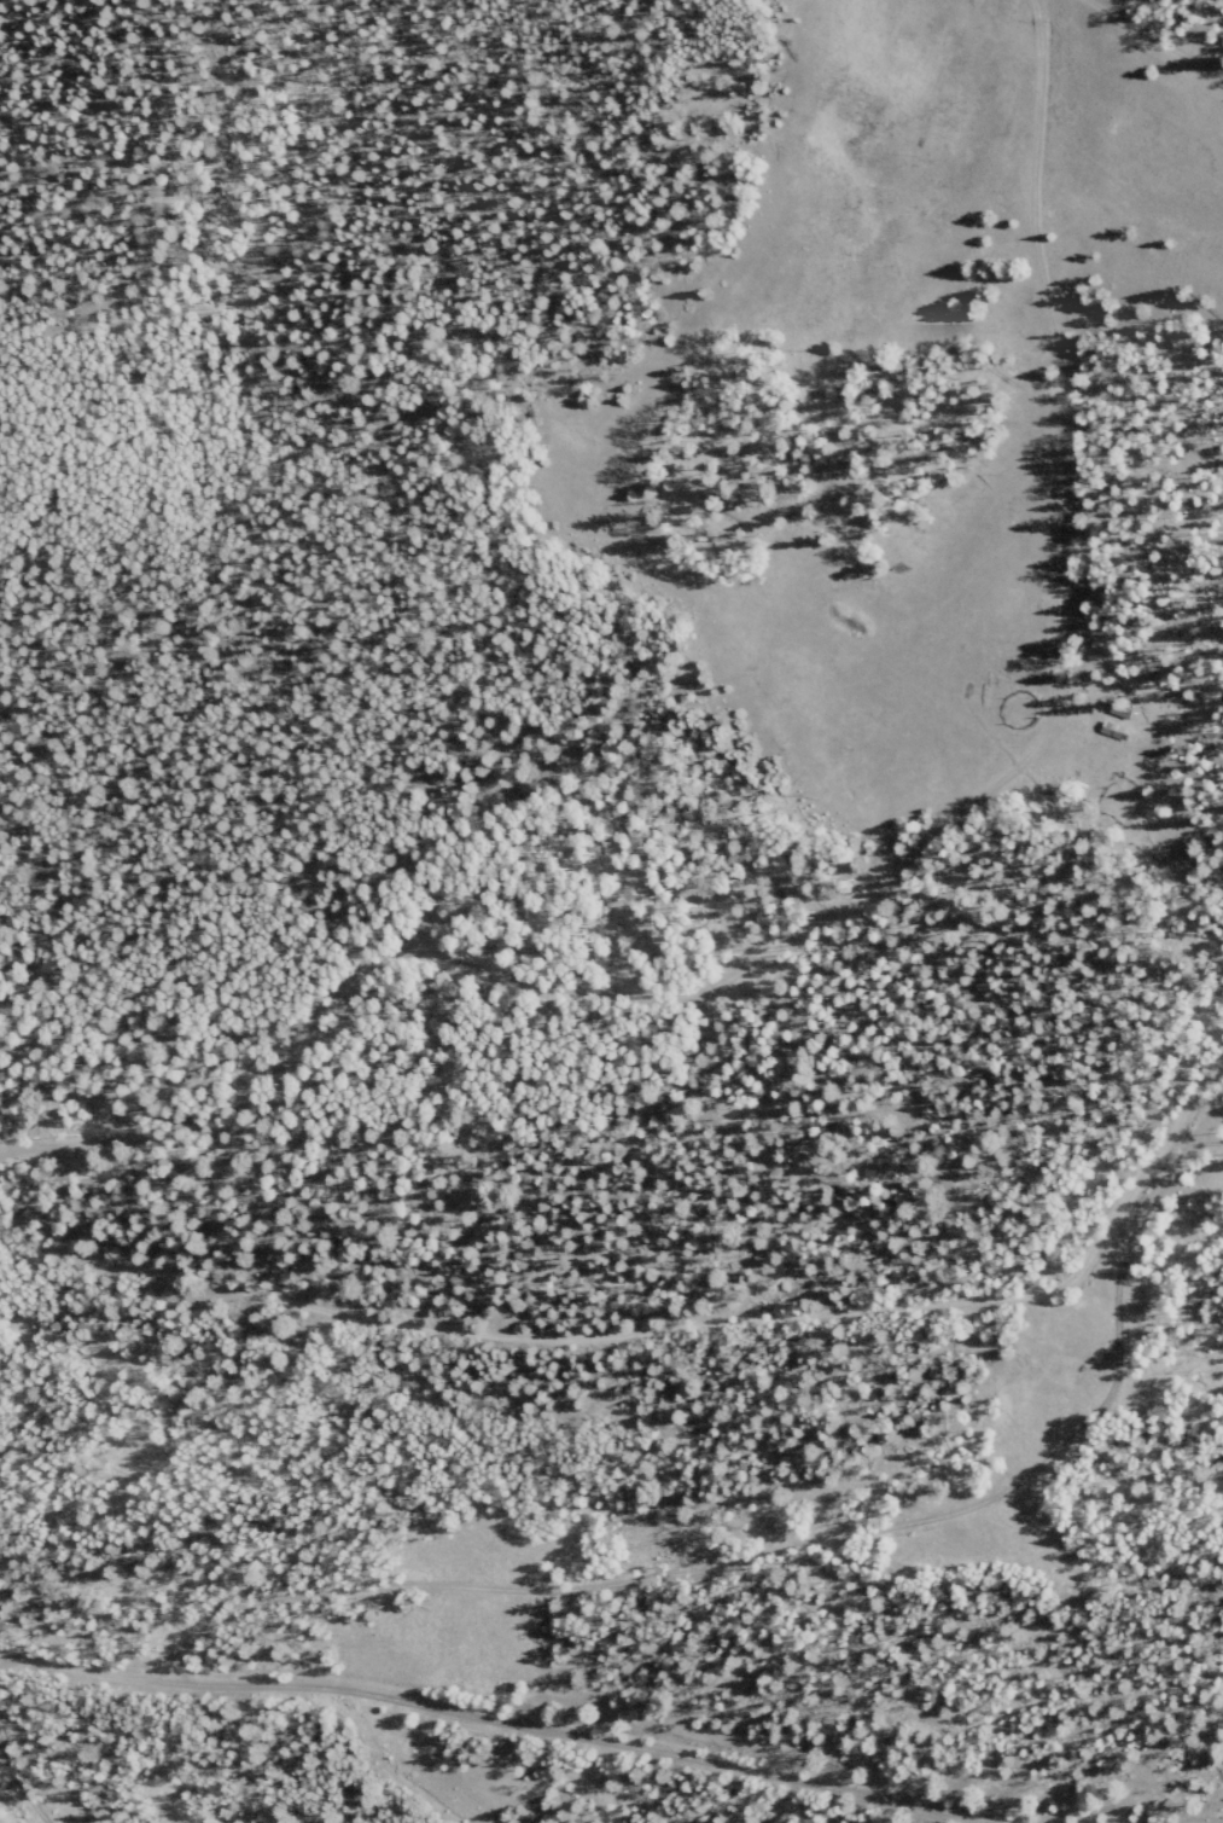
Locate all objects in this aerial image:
road: (25, 1282)
road: (668, 1375)
road: (5, 1661)
road: (471, 1737)
road: (18, 1777)
road: (1207, 1821)

